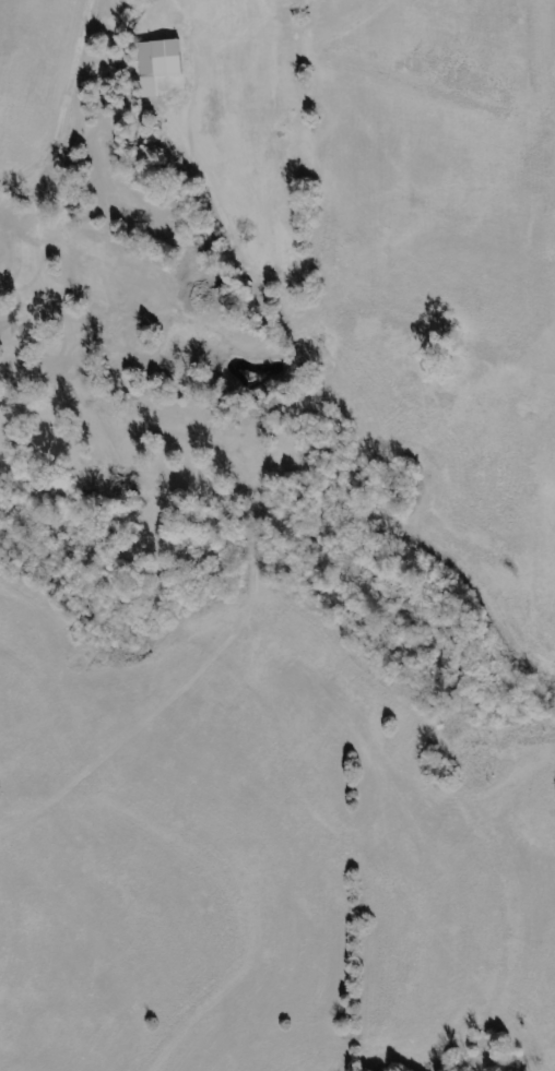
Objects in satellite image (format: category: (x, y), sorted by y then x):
building: (165, 58)

